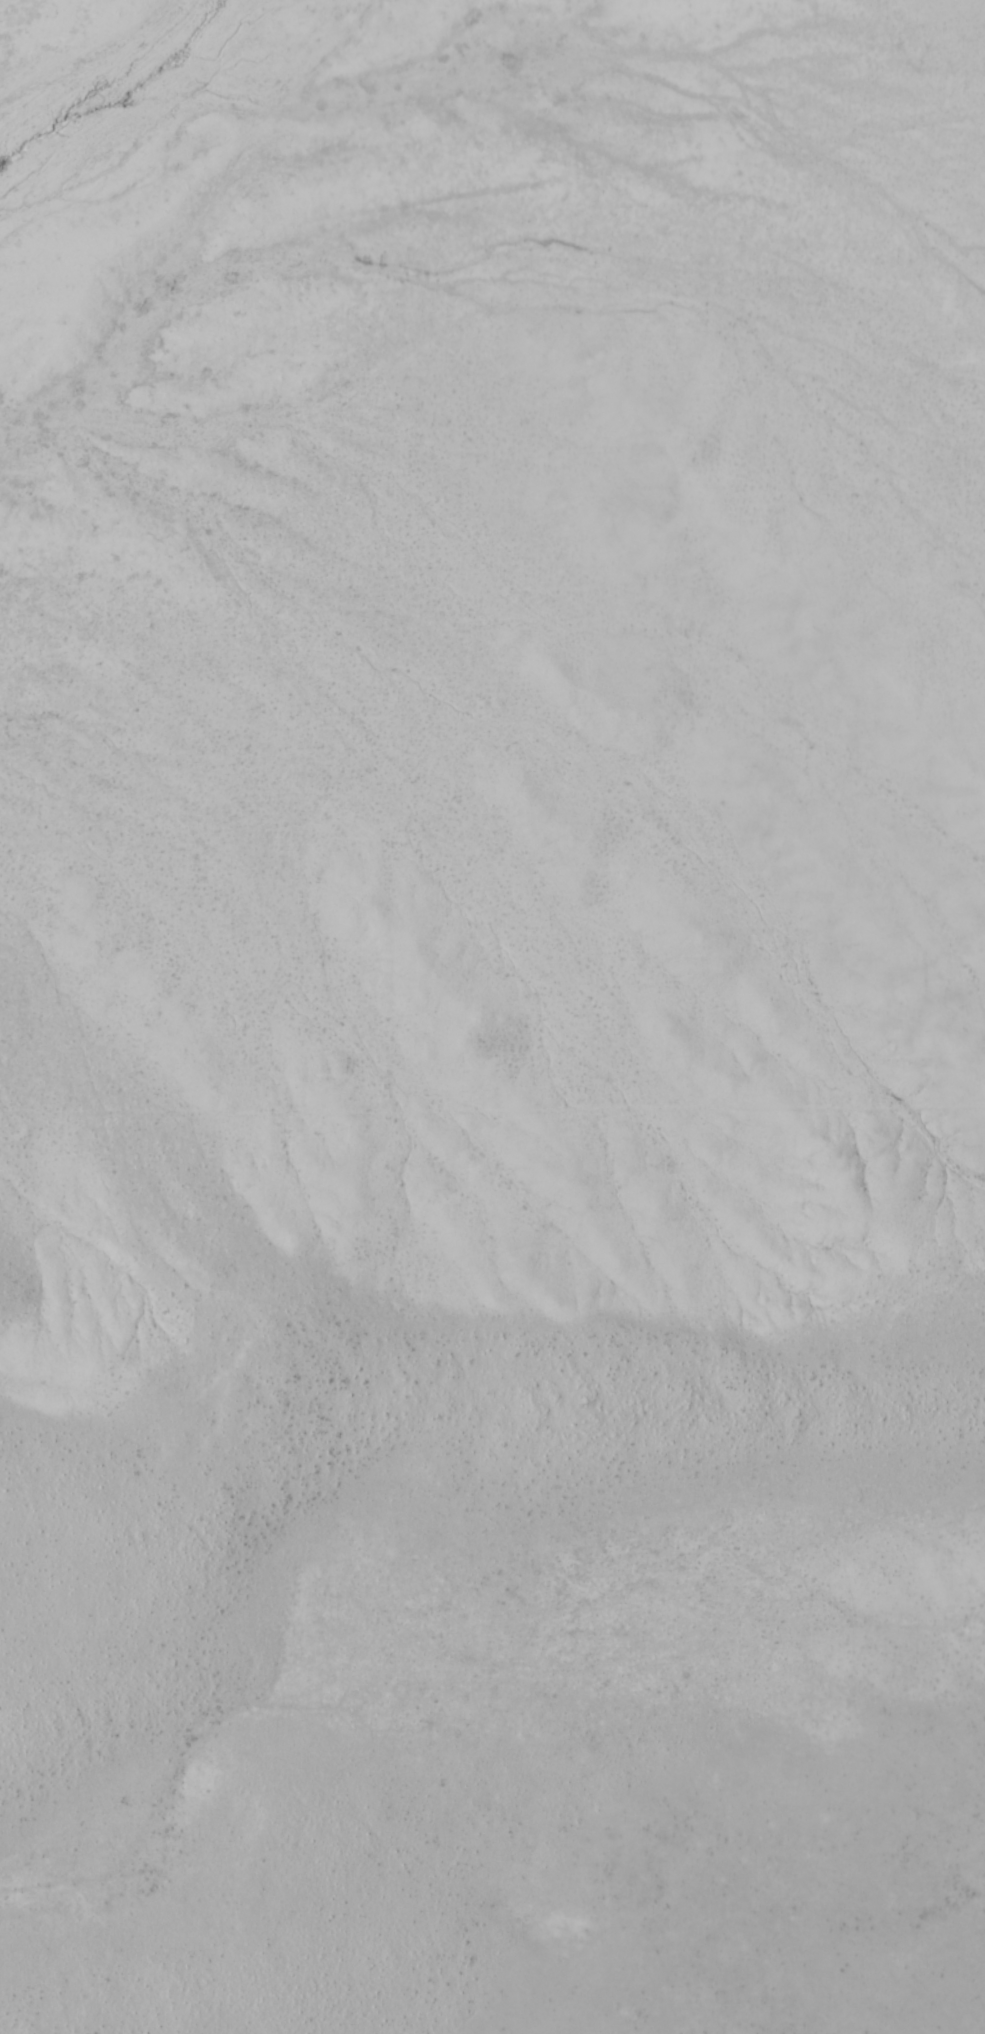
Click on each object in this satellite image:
road: (969, 2005)

